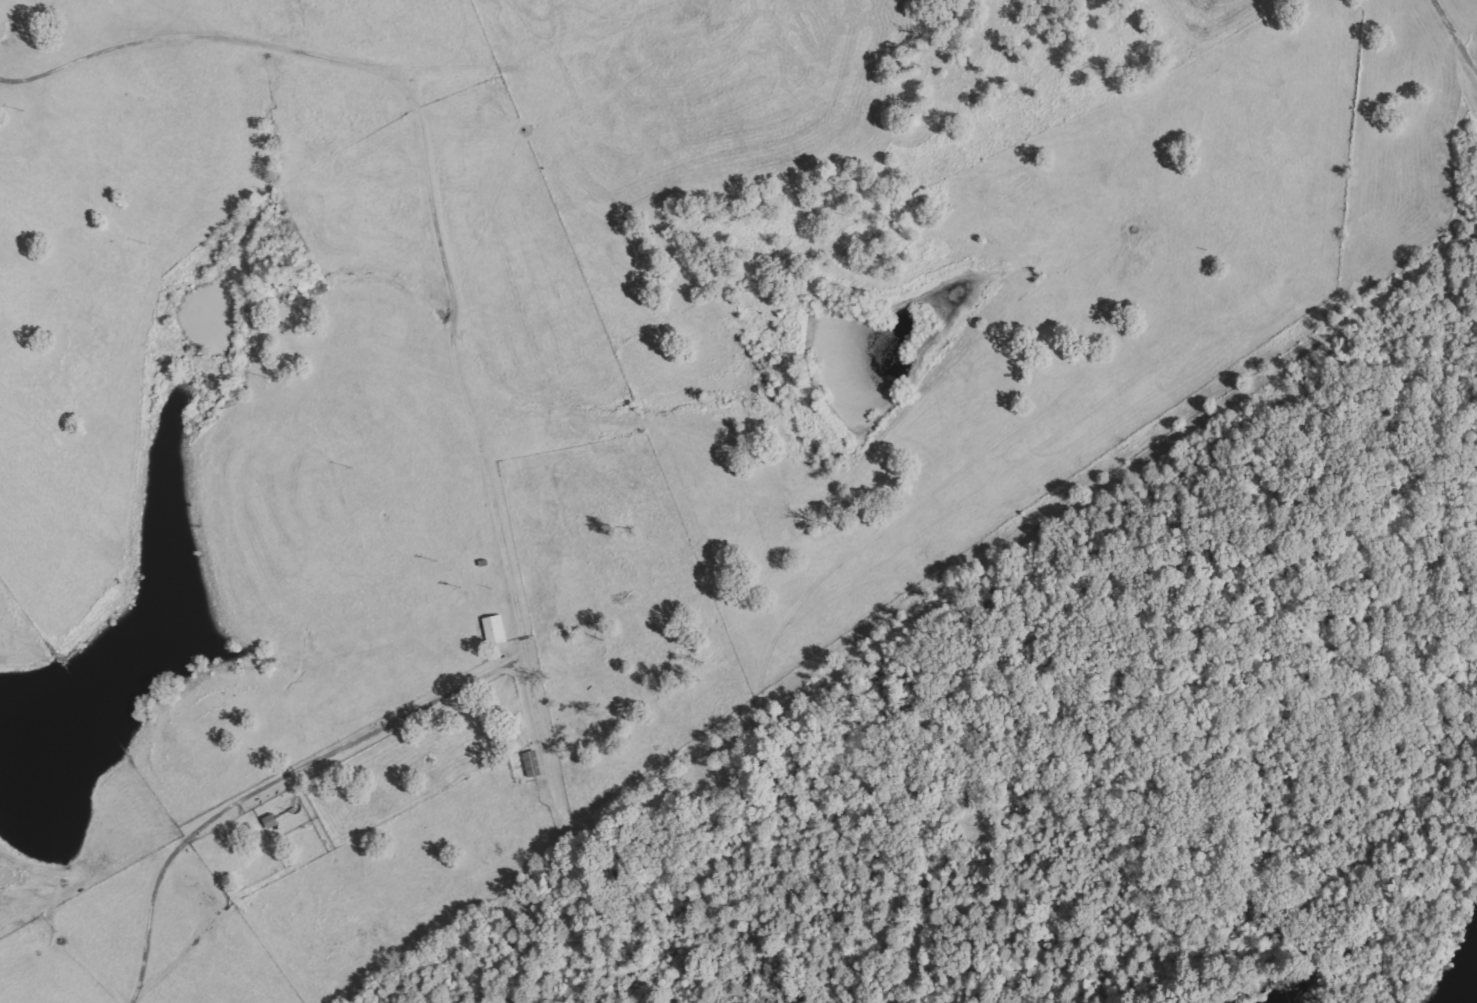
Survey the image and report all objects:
building: (495, 630)
building: (532, 764)
building: (271, 821)

